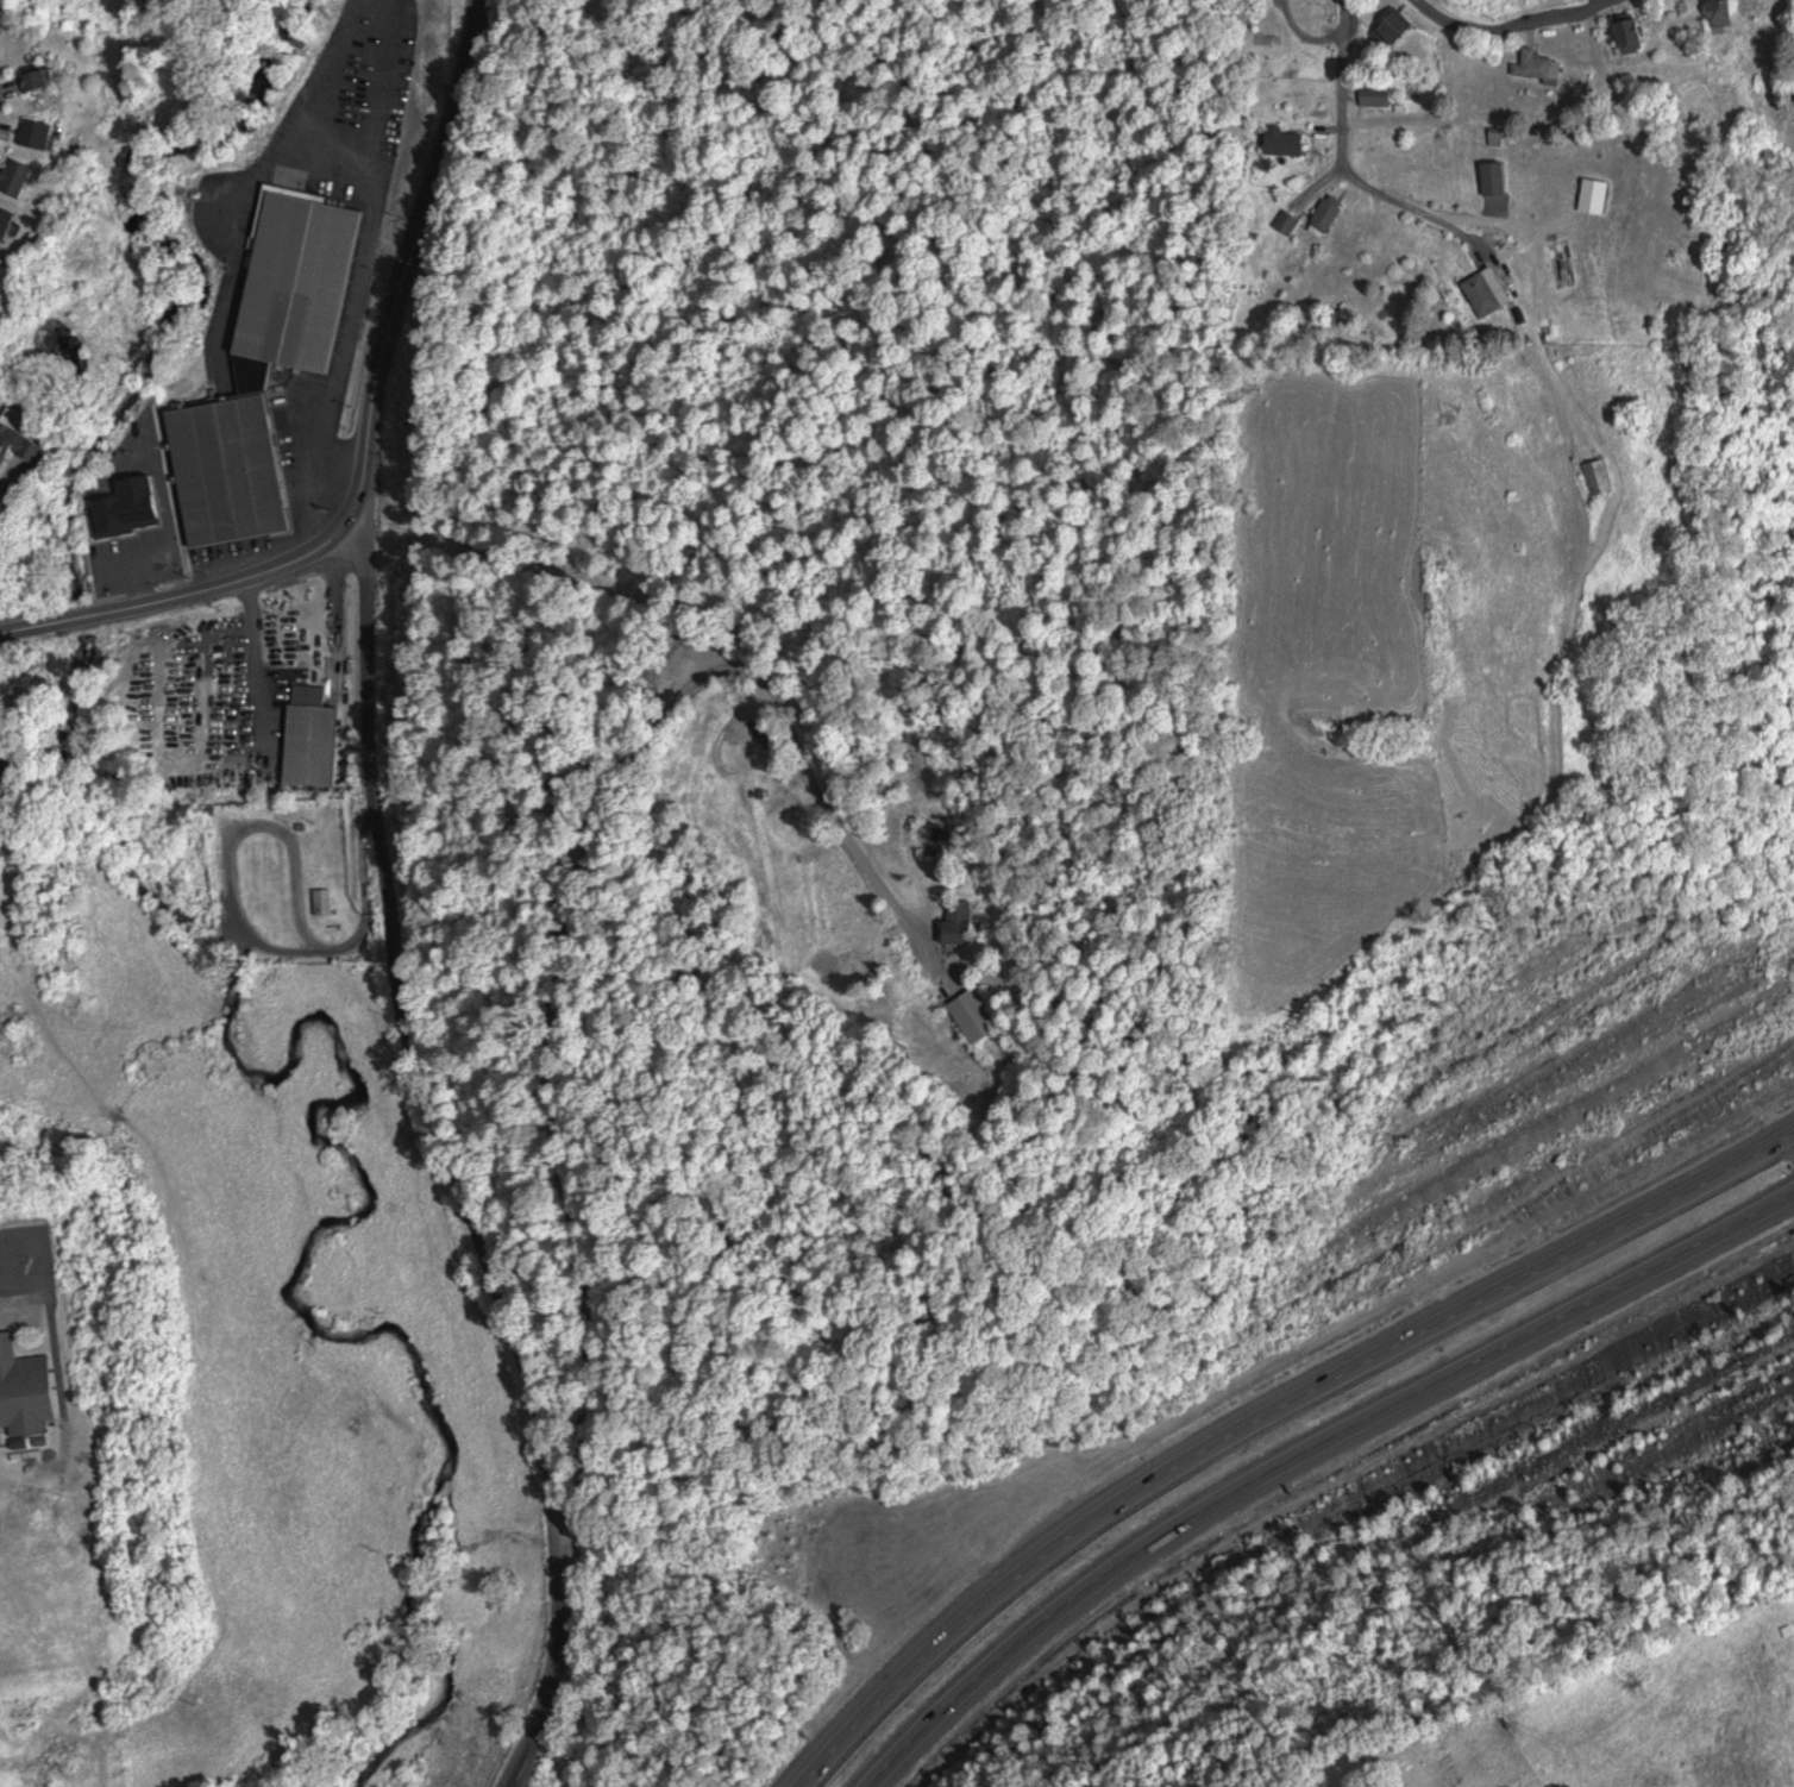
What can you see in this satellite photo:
road: (500, 12)
building: (1725, 14)
building: (1397, 25)
road: (1520, 27)
building: (1633, 35)
building: (1542, 65)
building: (37, 80)
road: (1347, 101)
building: (39, 133)
building: (1288, 142)
building: (19, 177)
building: (1497, 177)
building: (1598, 195)
building: (1290, 220)
building: (6, 222)
building: (0, 262)
building: (302, 281)
building: (1489, 290)
road: (376, 393)
building: (15, 443)
building: (231, 470)
building: (1601, 475)
building: (133, 508)
road: (90, 622)
road: (40, 632)
building: (313, 734)
building: (327, 899)
building: (962, 920)
building: (977, 1014)
road: (441, 1127)
road: (666, 1272)
building: (25, 1390)
road: (1268, 1418)
road: (1307, 1455)
road: (723, 1569)

